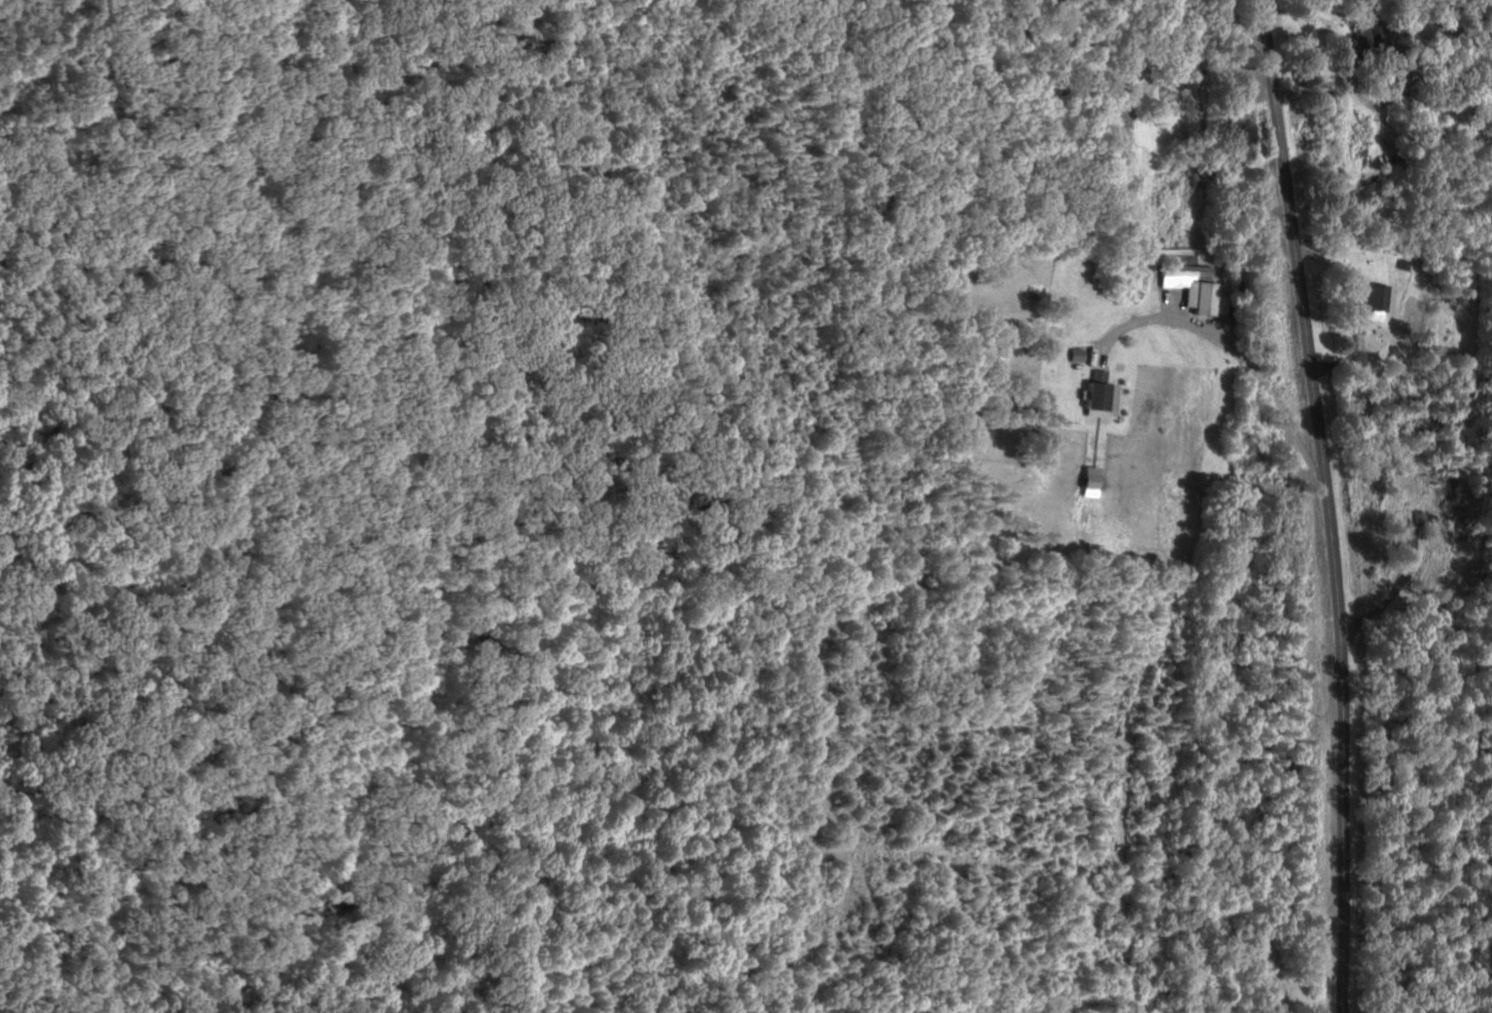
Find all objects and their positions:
building: (1127, 117)
building: (1188, 270)
building: (1377, 302)
road: (1155, 312)
building: (1062, 359)
building: (1103, 395)
road: (1325, 504)

